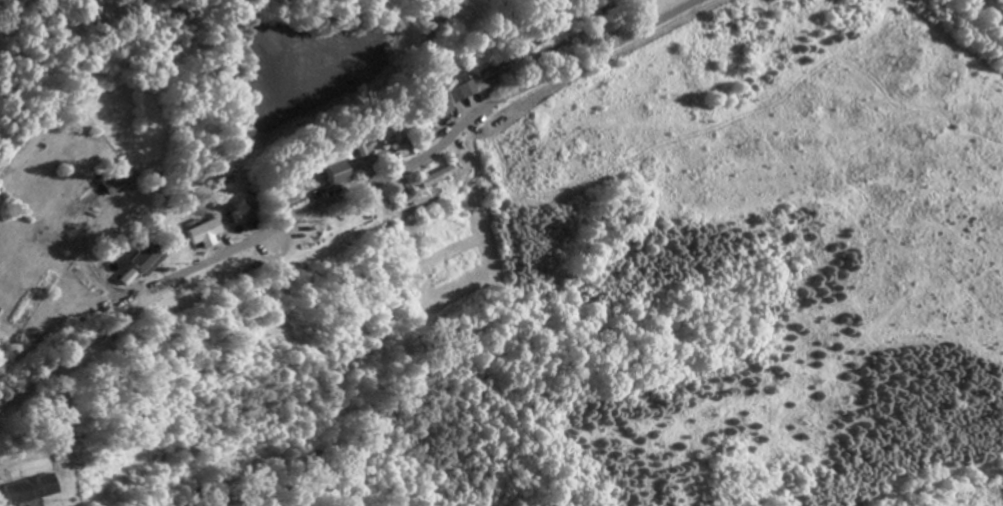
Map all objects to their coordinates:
building: (461, 90)
building: (440, 108)
building: (396, 135)
road: (437, 147)
building: (338, 173)
building: (119, 180)
building: (207, 236)
building: (149, 261)
building: (129, 280)
road: (82, 342)
building: (34, 492)

